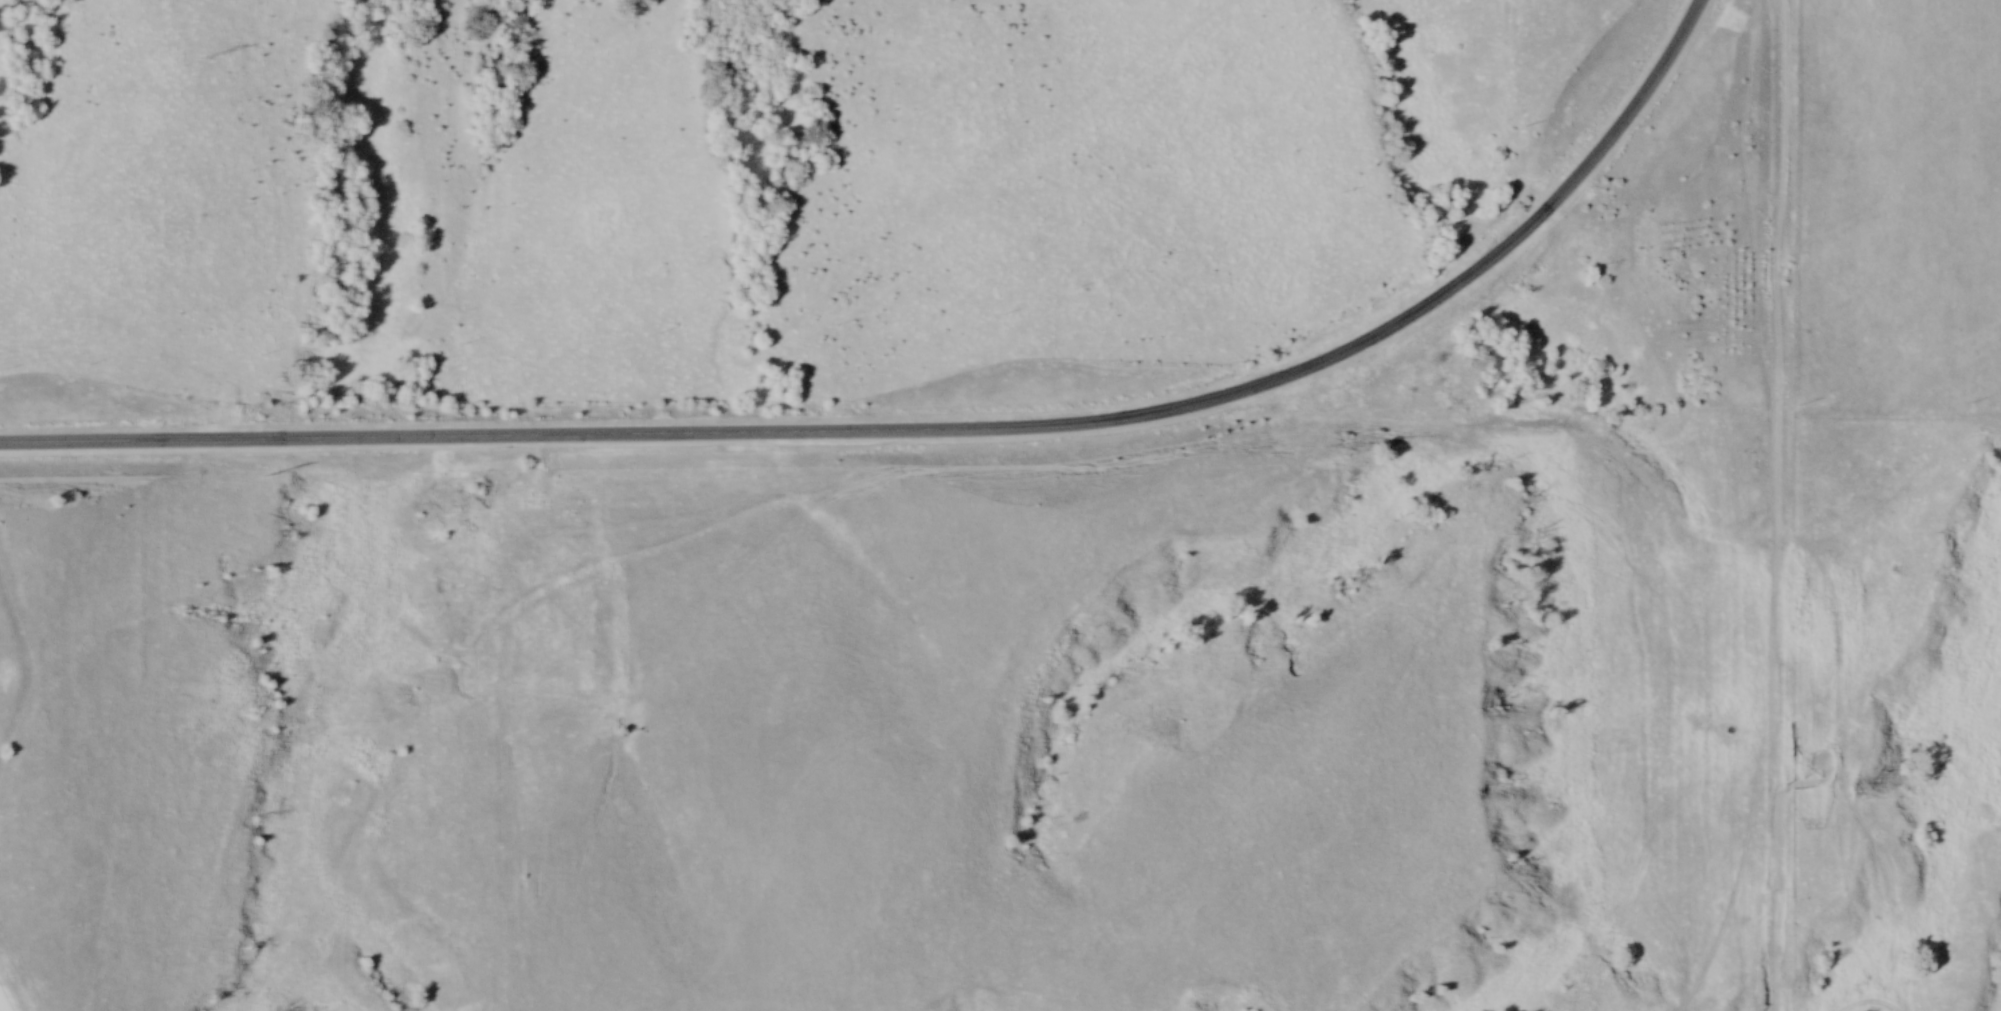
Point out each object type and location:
power tower: (202, 61)
road: (935, 428)
power tower: (266, 479)

